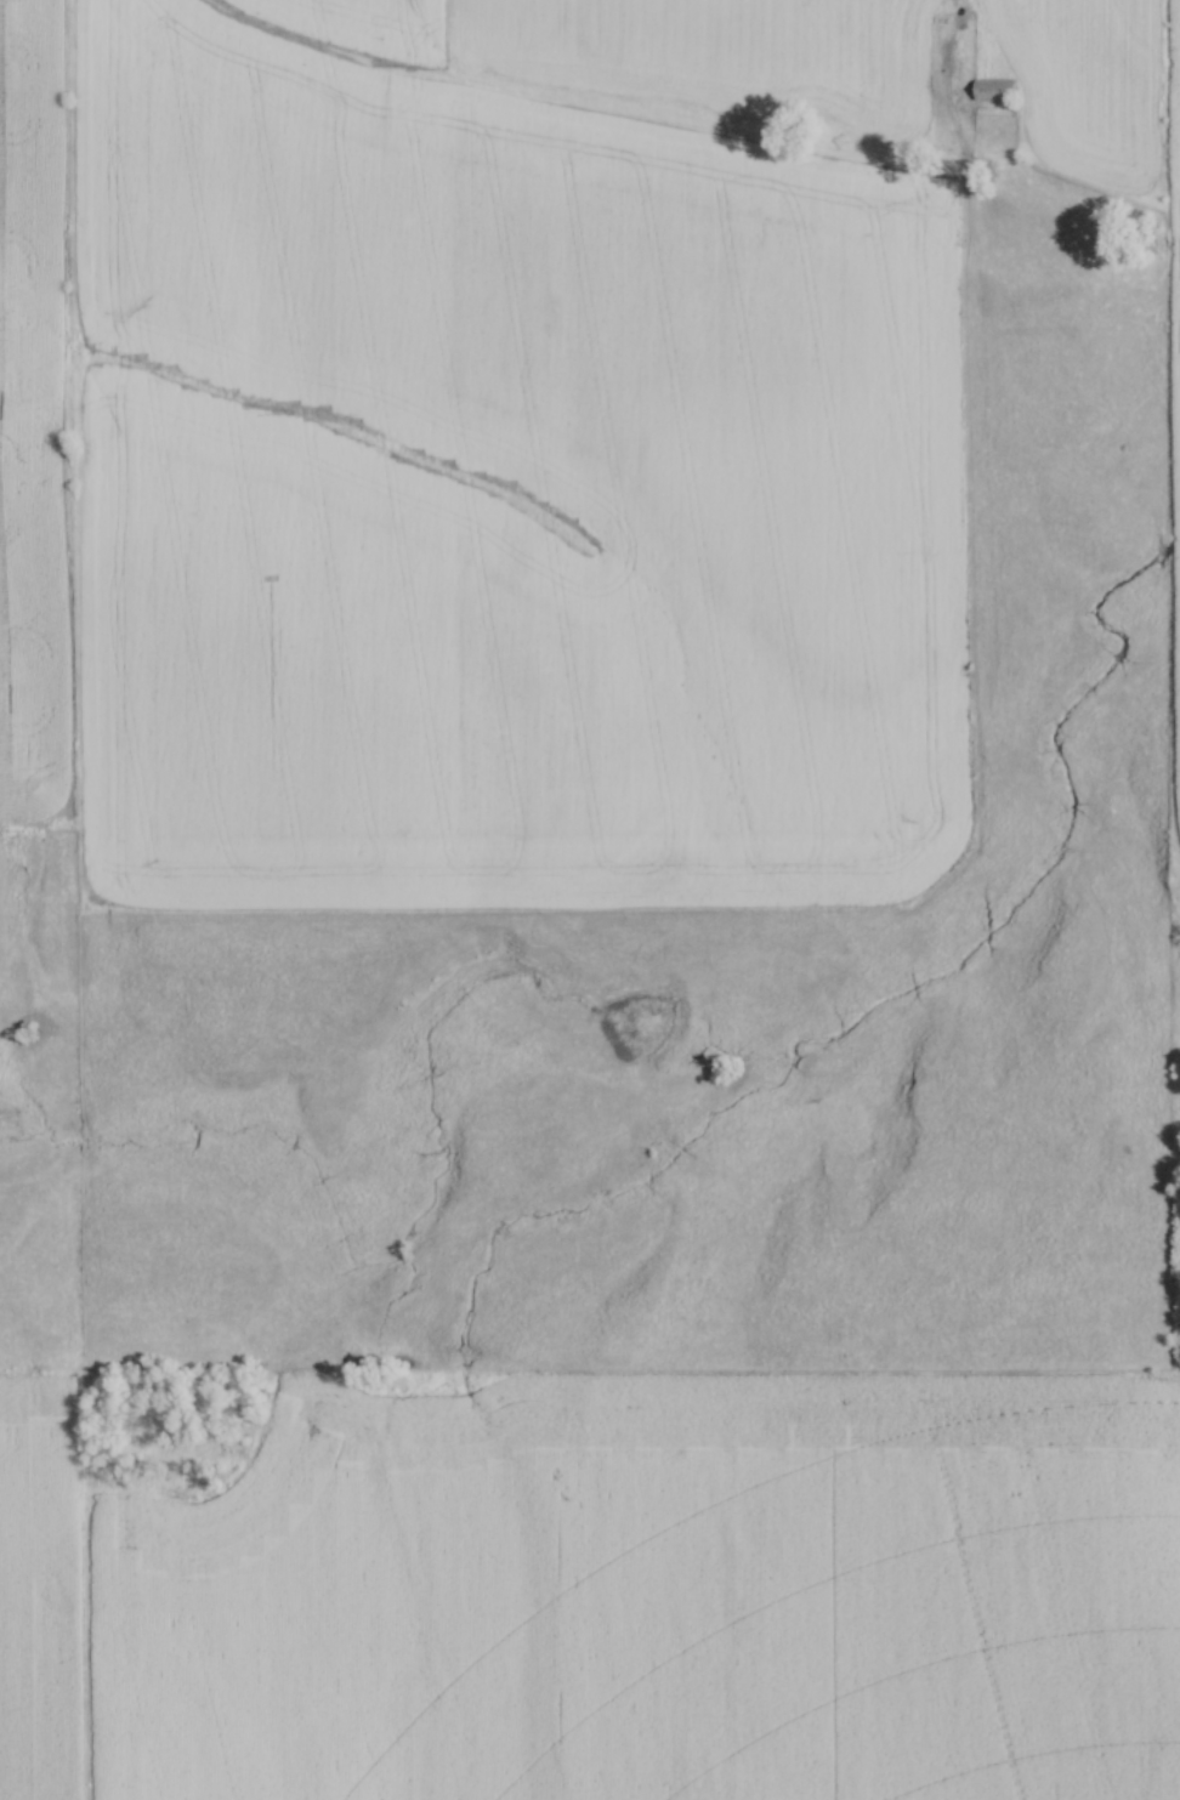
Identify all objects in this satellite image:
building: (994, 90)
building: (918, 1789)

